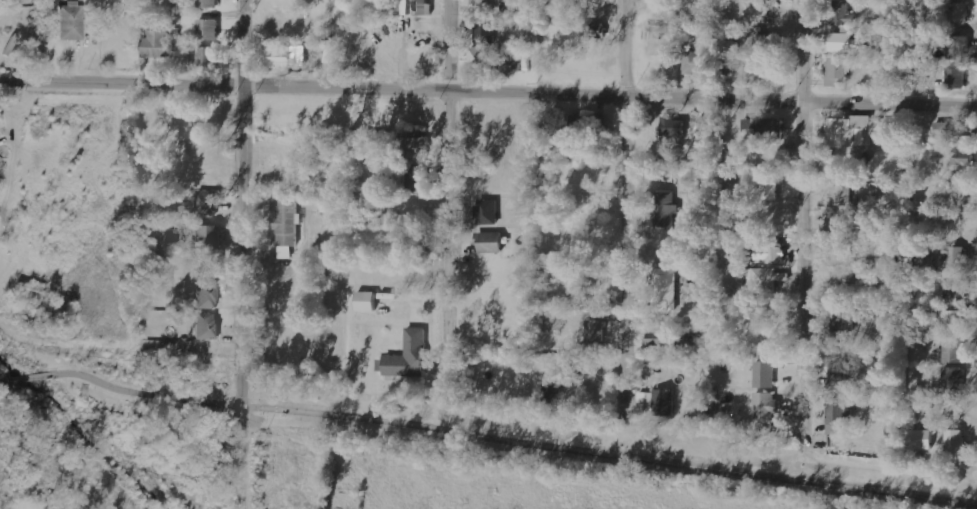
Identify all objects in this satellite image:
building: (208, 4)
building: (489, 6)
building: (422, 7)
building: (957, 12)
building: (841, 14)
building: (71, 22)
building: (208, 29)
building: (592, 30)
building: (485, 33)
building: (653, 33)
building: (847, 43)
building: (157, 44)
building: (767, 44)
building: (332, 55)
building: (207, 56)
building: (284, 57)
building: (479, 57)
building: (700, 63)
building: (912, 69)
building: (836, 72)
building: (956, 78)
road: (488, 94)
building: (674, 126)
building: (770, 127)
building: (856, 130)
building: (955, 130)
building: (410, 144)
building: (964, 157)
road: (451, 178)
building: (418, 179)
building: (770, 185)
road: (621, 191)
building: (841, 195)
building: (208, 203)
road: (801, 203)
building: (664, 209)
building: (487, 212)
building: (287, 228)
building: (211, 234)
building: (491, 242)
building: (838, 251)
building: (771, 253)
road: (242, 254)
building: (954, 255)
building: (765, 280)
building: (953, 287)
building: (665, 289)
building: (207, 297)
building: (367, 301)
building: (844, 319)
building: (951, 321)
building: (207, 326)
building: (596, 330)
building: (953, 349)
building: (409, 355)
building: (838, 368)
building: (765, 374)
road: (27, 377)
road: (2, 380)
building: (952, 380)
building: (553, 387)
park: (109, 398)
building: (647, 399)
building: (665, 402)
building: (766, 405)
building: (839, 417)
building: (921, 439)
road: (513, 441)
building: (956, 441)
park: (604, 445)

